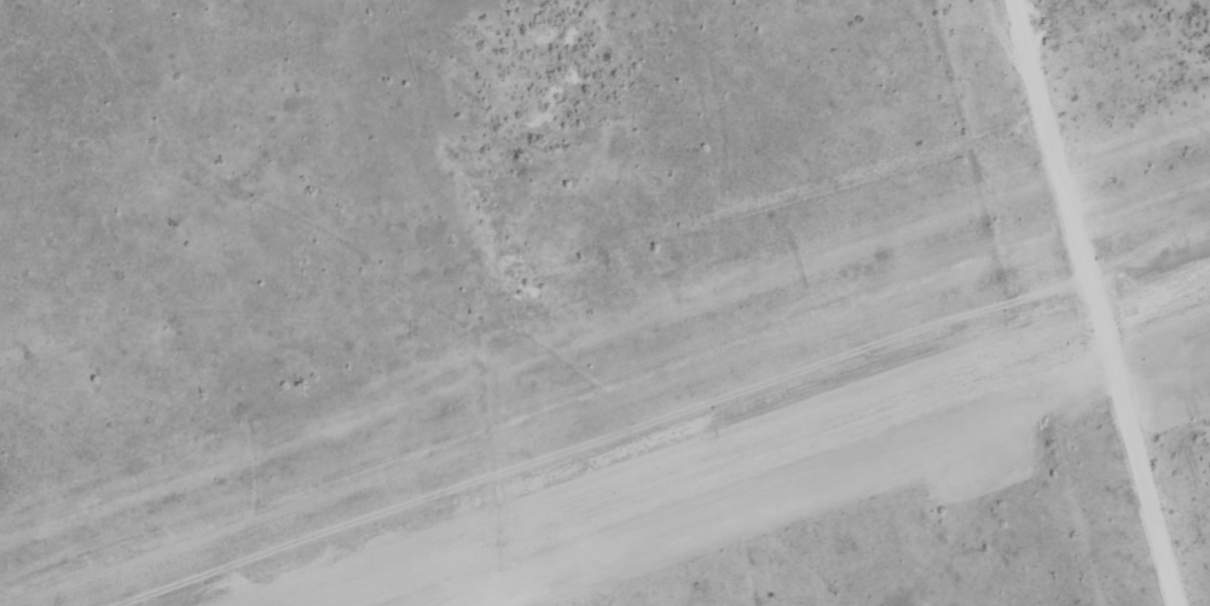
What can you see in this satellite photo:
road: (1106, 305)

